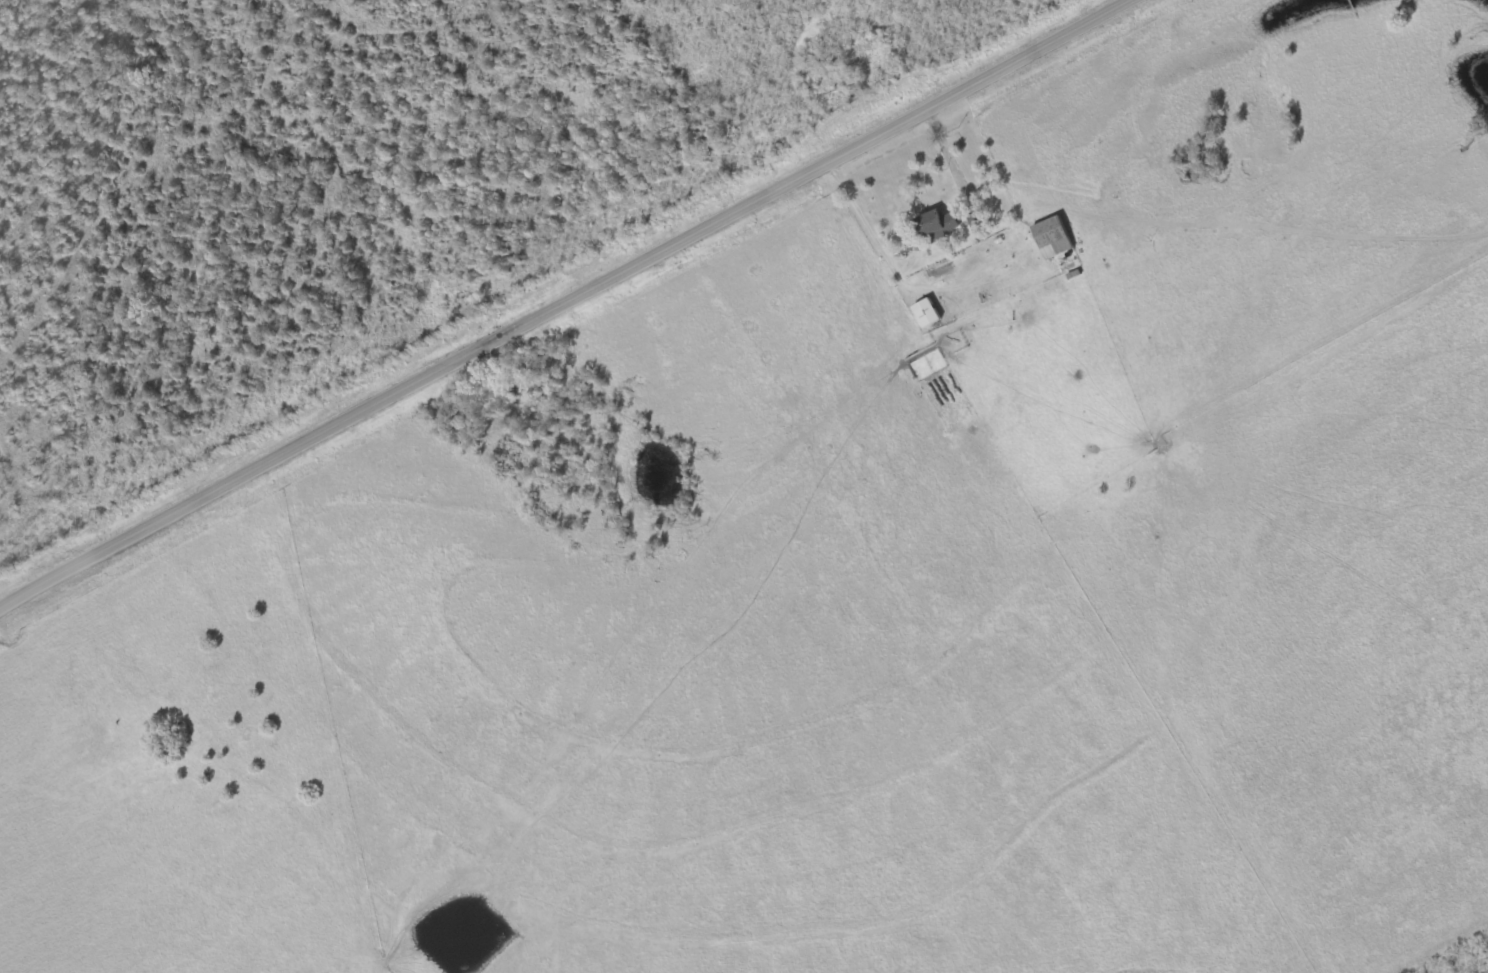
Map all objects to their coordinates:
building: (1050, 238)
road: (568, 306)
building: (924, 315)

